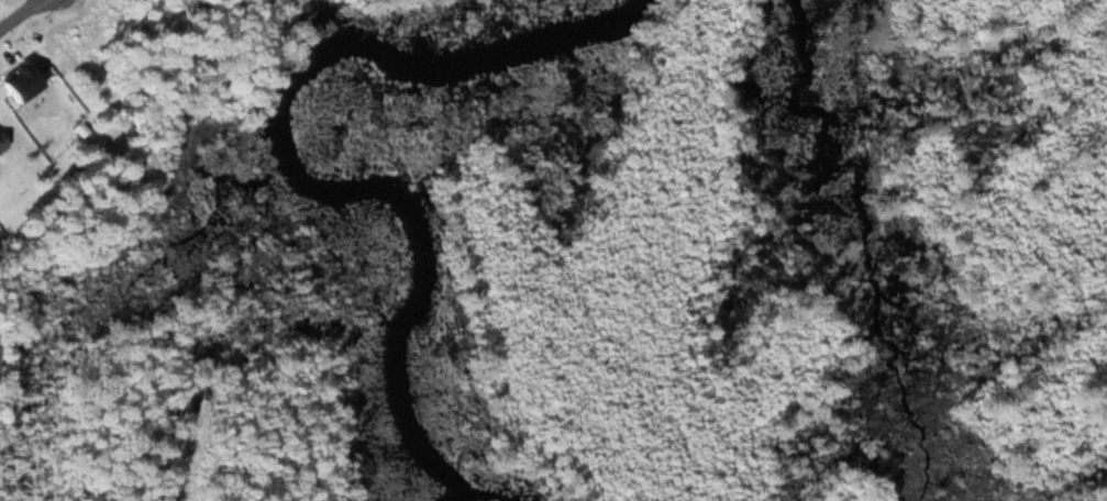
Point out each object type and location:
road: (8, 11)
building: (0, 143)

